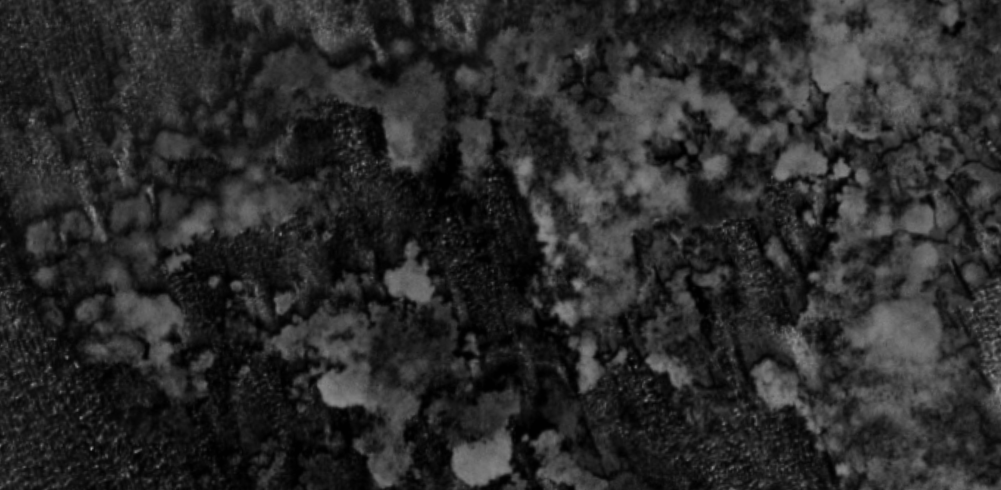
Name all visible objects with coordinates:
wastewater plant: (500, 245)

